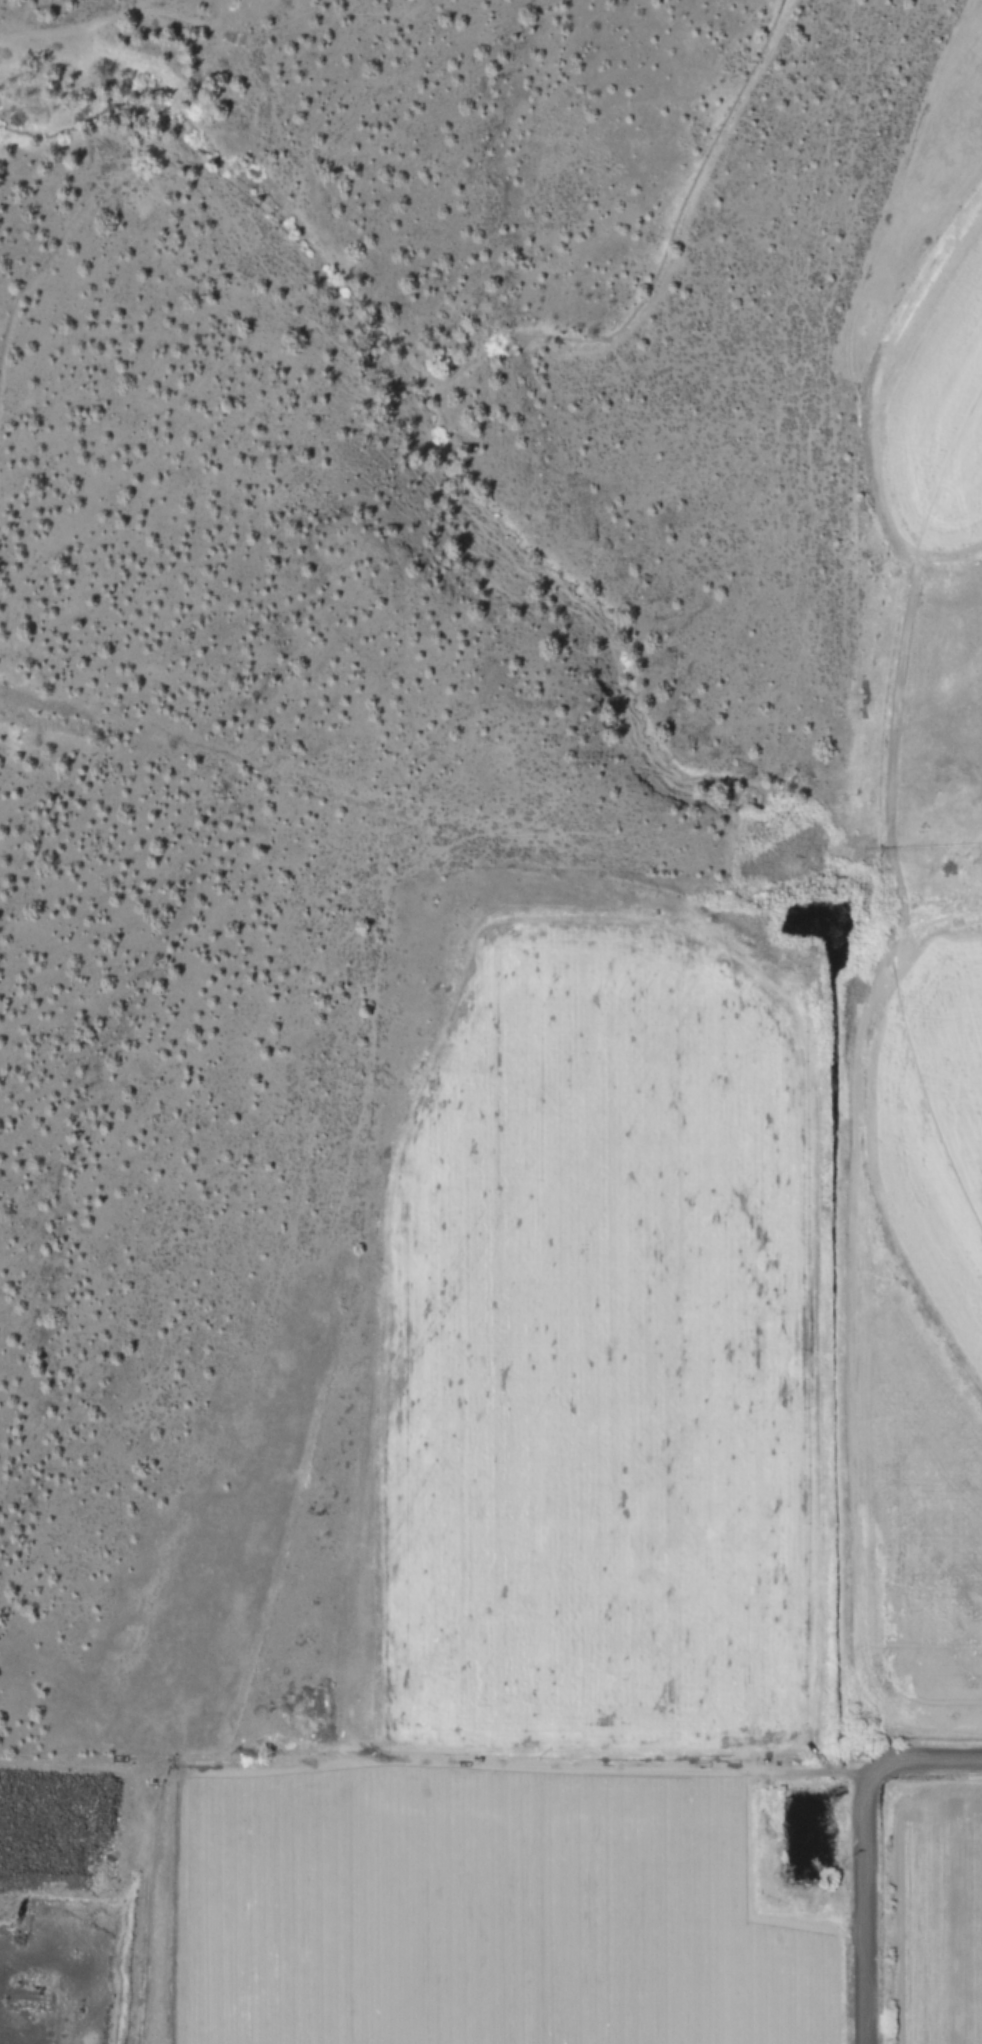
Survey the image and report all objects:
crop: (929, 803)
crop: (576, 1572)
road: (921, 1755)
quarry: (79, 1893)
road: (866, 1908)

